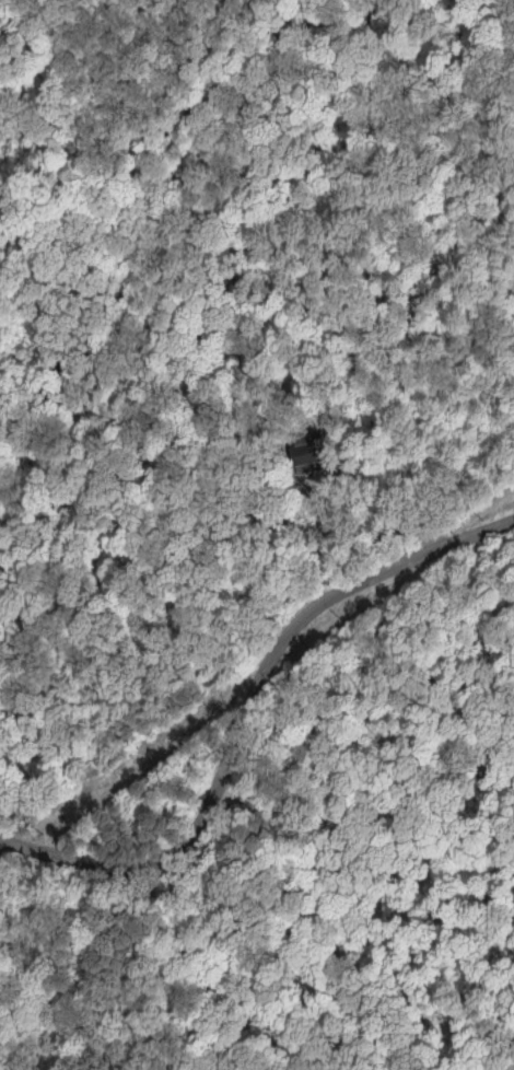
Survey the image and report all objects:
road: (249, 711)

